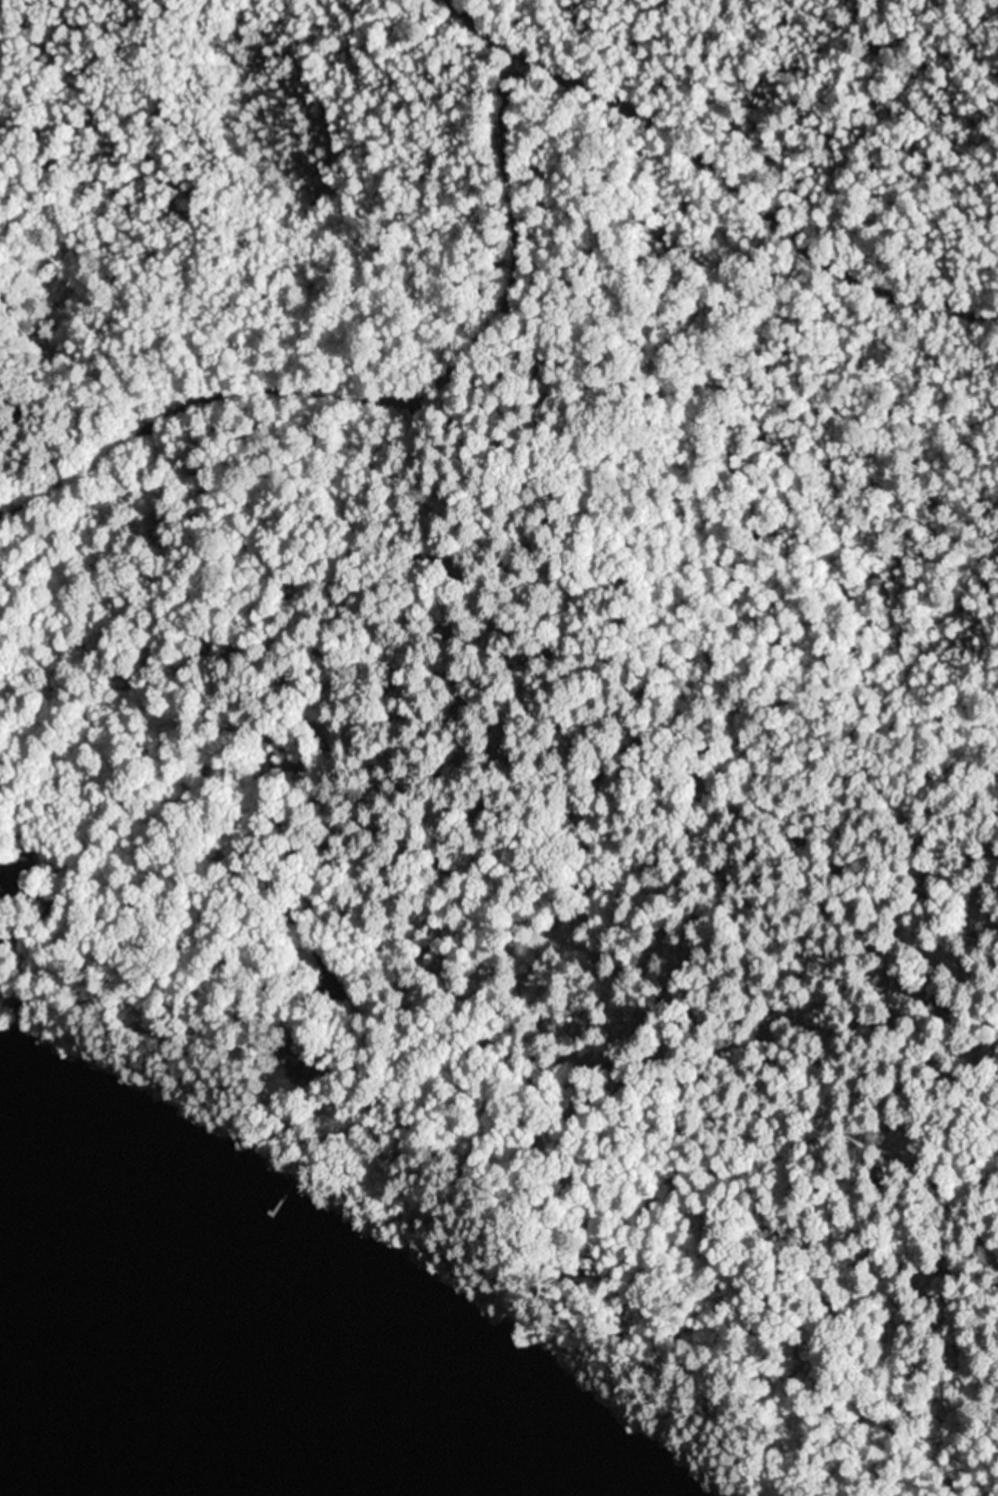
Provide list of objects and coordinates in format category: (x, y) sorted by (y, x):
road: (718, 172)
road: (391, 398)
building: (57, 909)
building: (3, 933)
building: (27, 1010)
building: (303, 1063)

